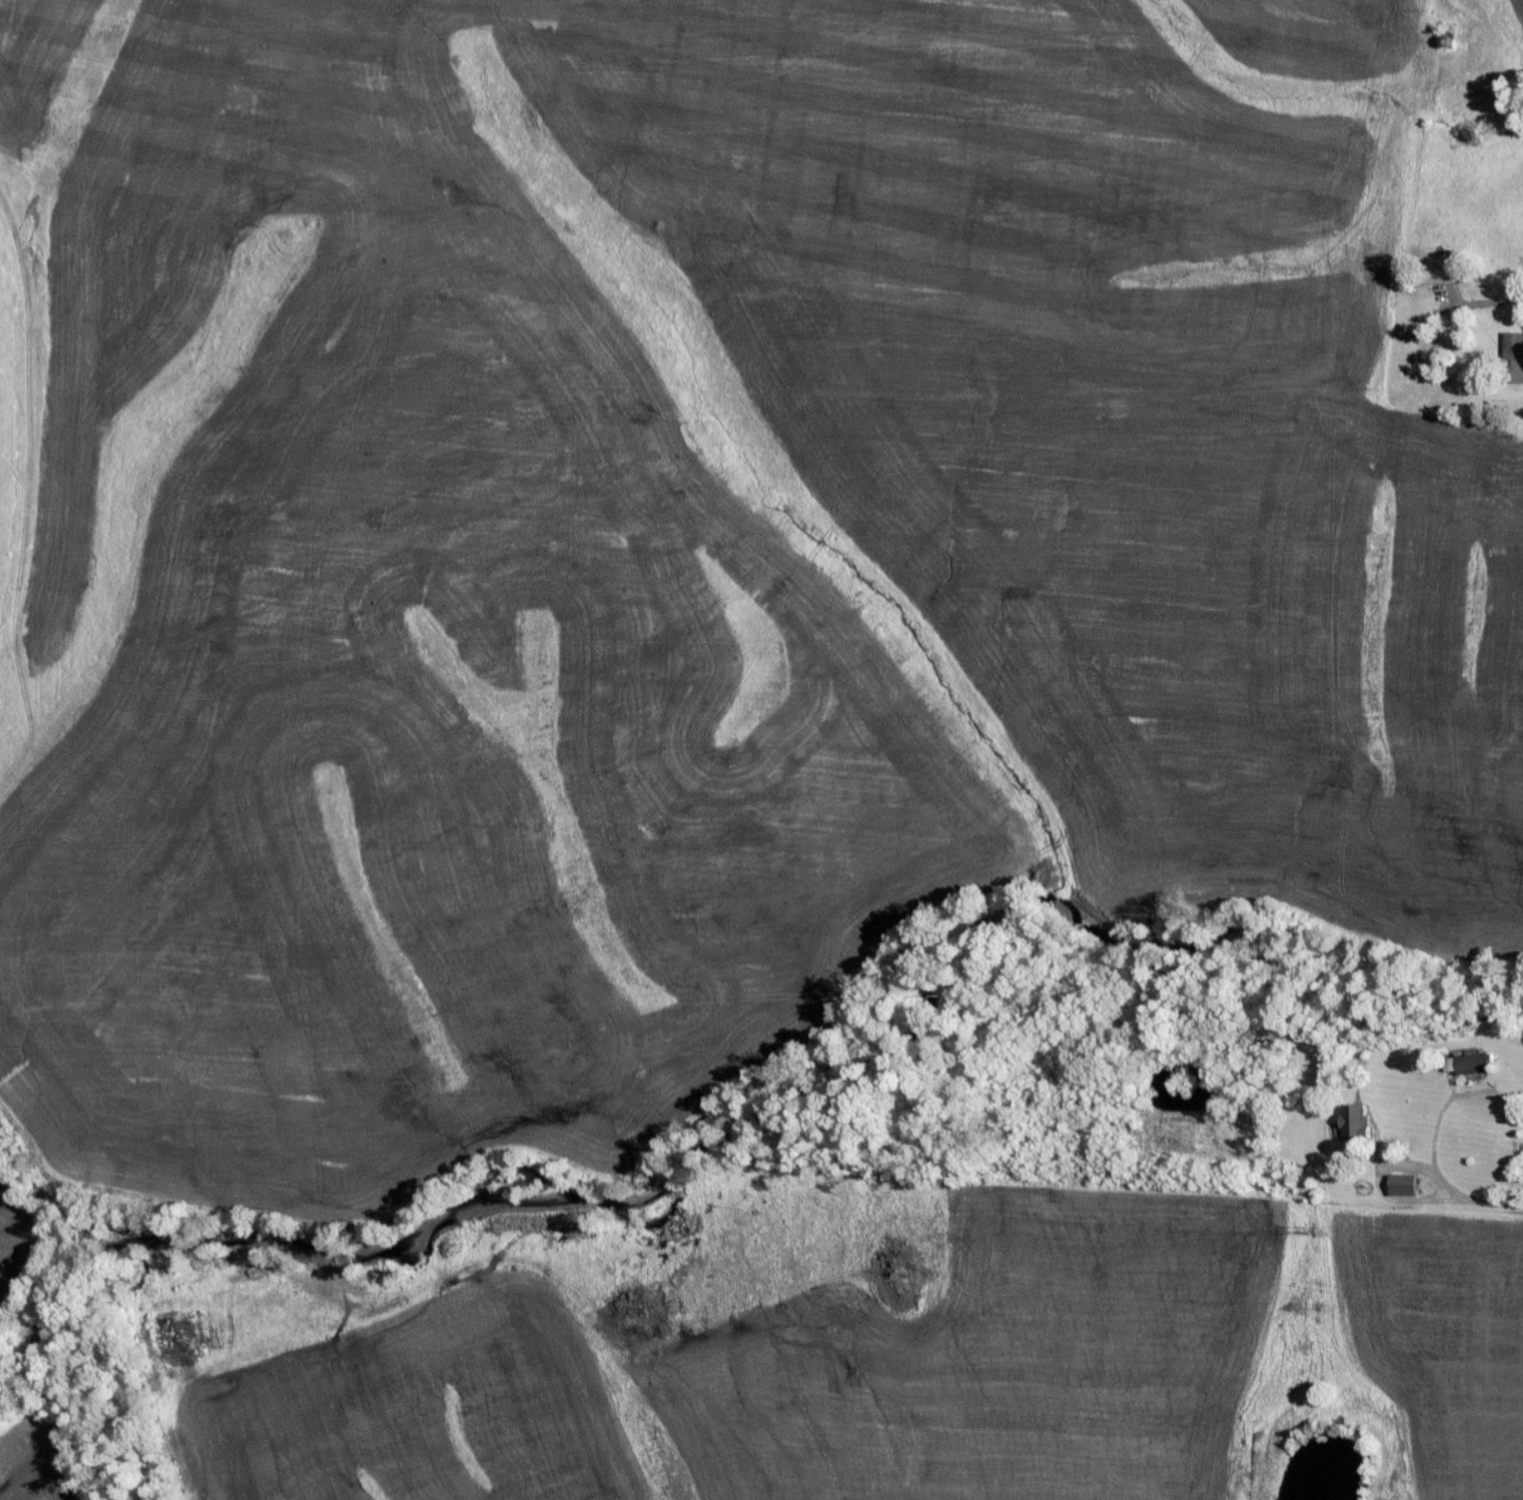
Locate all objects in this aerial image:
building: (1440, 275)
building: (1512, 358)
building: (1465, 1066)
building: (1353, 1121)
building: (1400, 1186)

